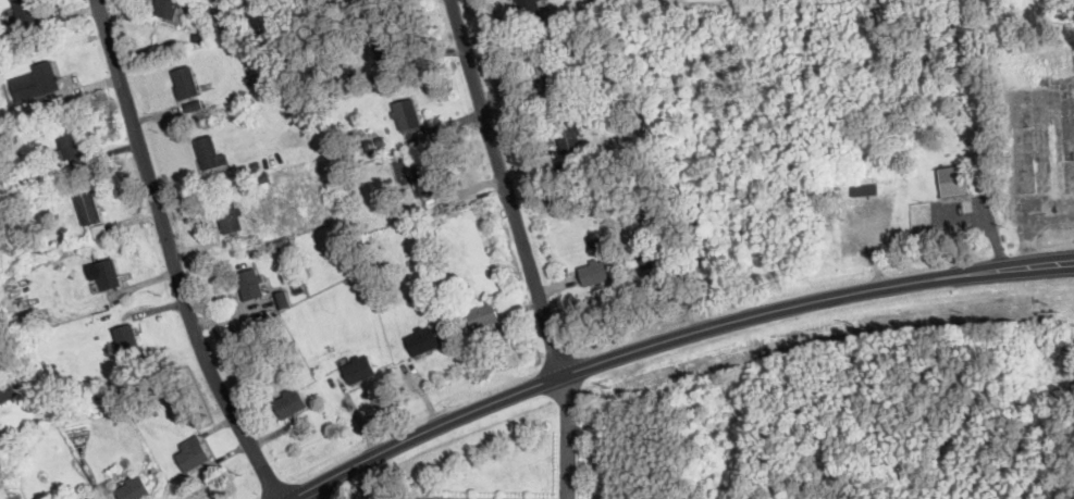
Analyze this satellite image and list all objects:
building: (528, 8)
building: (168, 9)
building: (24, 13)
building: (385, 47)
building: (550, 72)
building: (37, 82)
building: (186, 83)
building: (190, 104)
building: (407, 113)
building: (569, 137)
building: (70, 144)
building: (209, 153)
building: (951, 179)
building: (427, 180)
road: (508, 187)
building: (862, 188)
building: (89, 209)
building: (231, 217)
building: (655, 254)
road: (171, 258)
building: (596, 272)
building: (108, 274)
building: (251, 284)
building: (483, 315)
building: (27, 321)
road: (668, 338)
building: (127, 340)
building: (423, 341)
building: (360, 370)
building: (7, 391)
building: (292, 403)
road: (569, 436)
building: (194, 452)
building: (135, 489)
road: (321, 490)

